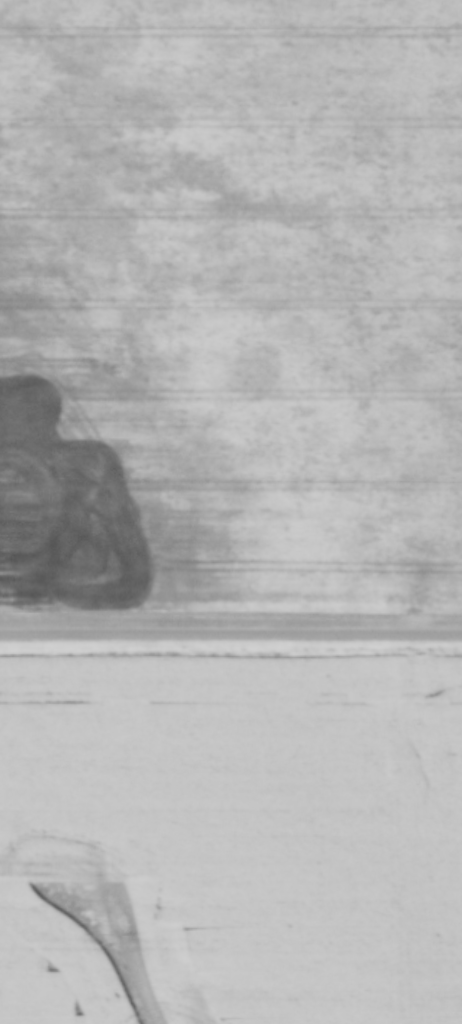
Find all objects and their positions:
road: (231, 628)

